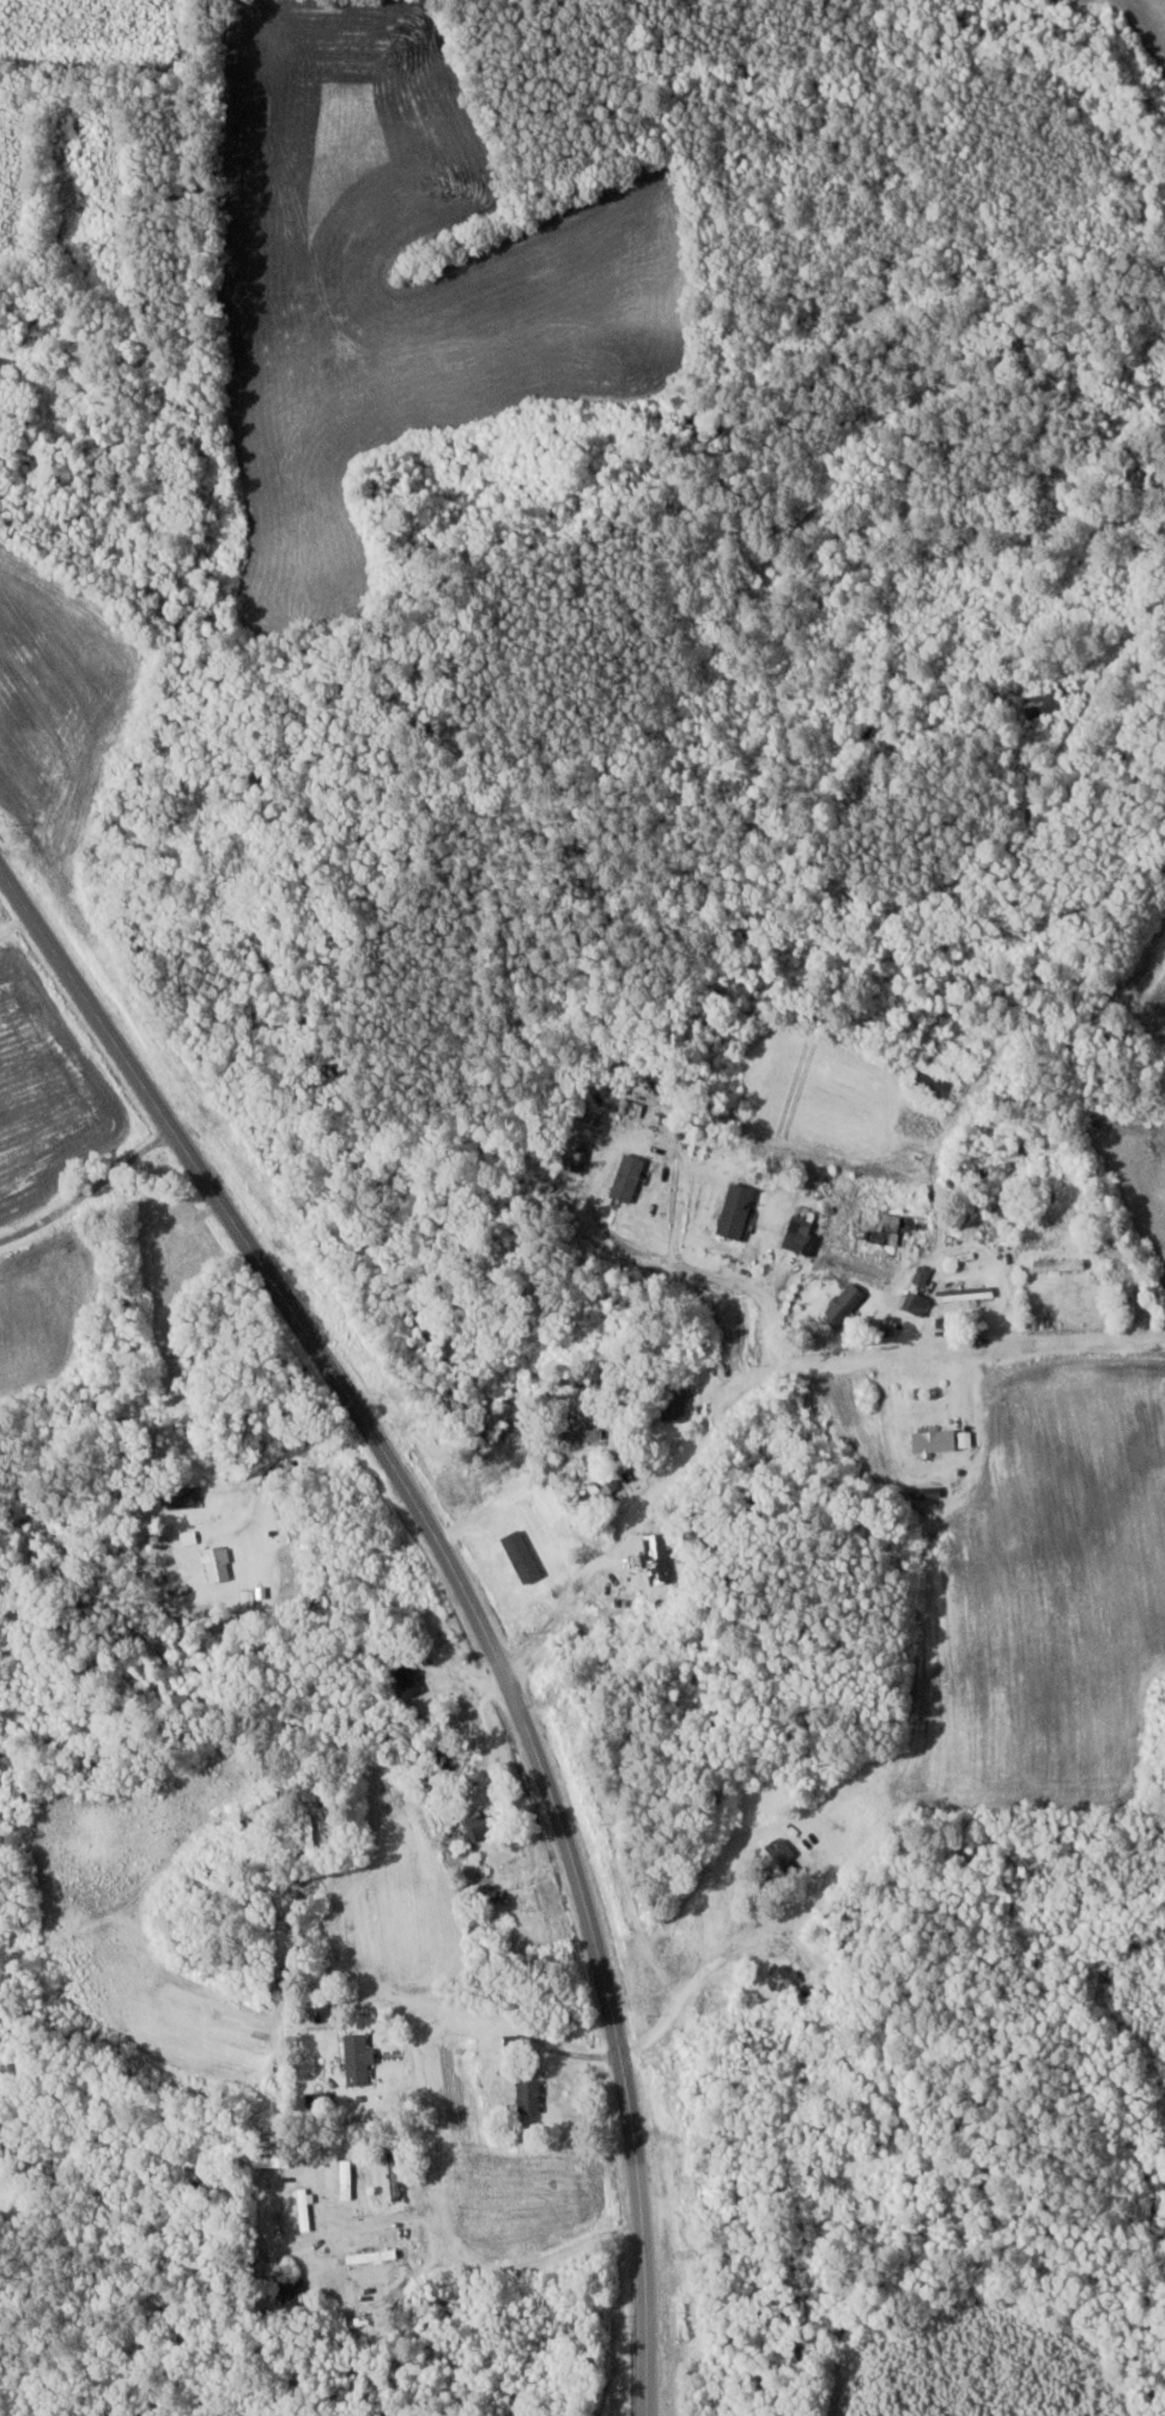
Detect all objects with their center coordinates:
road: (170, 251)
building: (11, 363)
building: (1045, 704)
building: (261, 771)
building: (935, 1085)
road: (85, 1173)
building: (630, 1178)
building: (738, 1210)
building: (1060, 1265)
road: (710, 1274)
building: (966, 1294)
building: (917, 1304)
building: (844, 1305)
road: (762, 1373)
building: (676, 1406)
building: (591, 1433)
building: (936, 1443)
road: (291, 1453)
building: (182, 1499)
building: (548, 1528)
building: (659, 1560)
building: (219, 1565)
road: (461, 1590)
building: (408, 1673)
building: (483, 1827)
building: (311, 1841)
building: (784, 1855)
building: (498, 1896)
building: (784, 1978)
road: (692, 1989)
building: (359, 2059)
building: (530, 2096)
building: (820, 2126)
building: (273, 2161)
building: (395, 2177)
building: (346, 2180)
building: (304, 2211)
building: (374, 2257)
road: (451, 2259)
building: (293, 2294)
building: (365, 2320)

